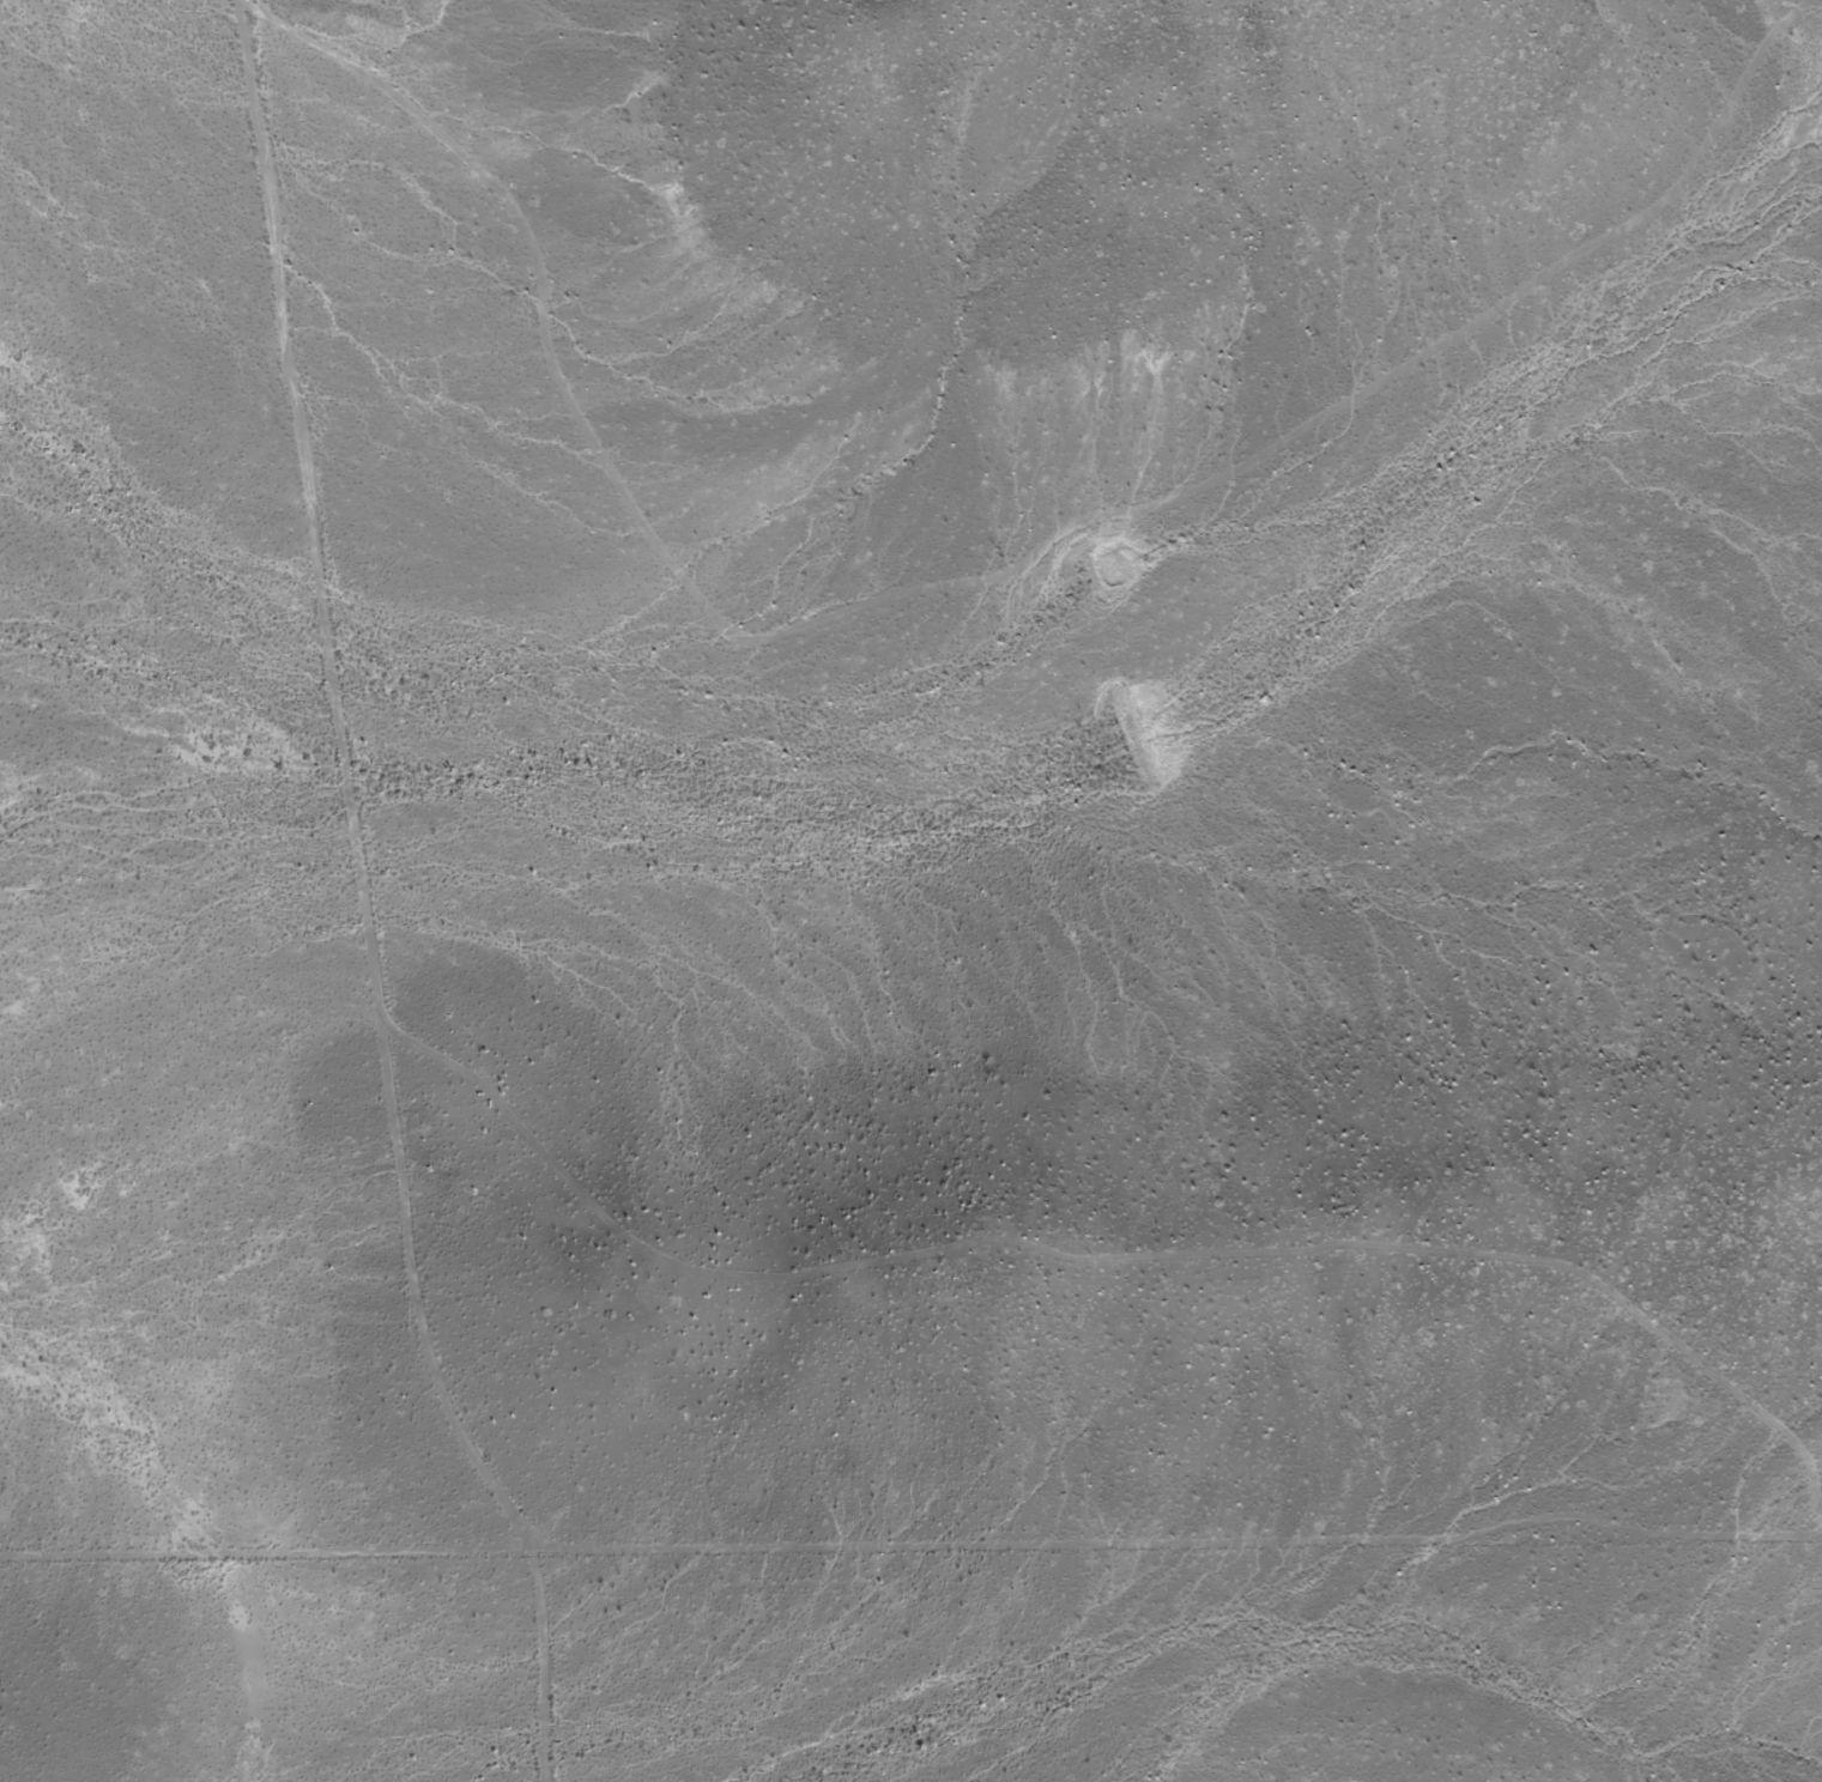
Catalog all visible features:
road: (344, 901)

